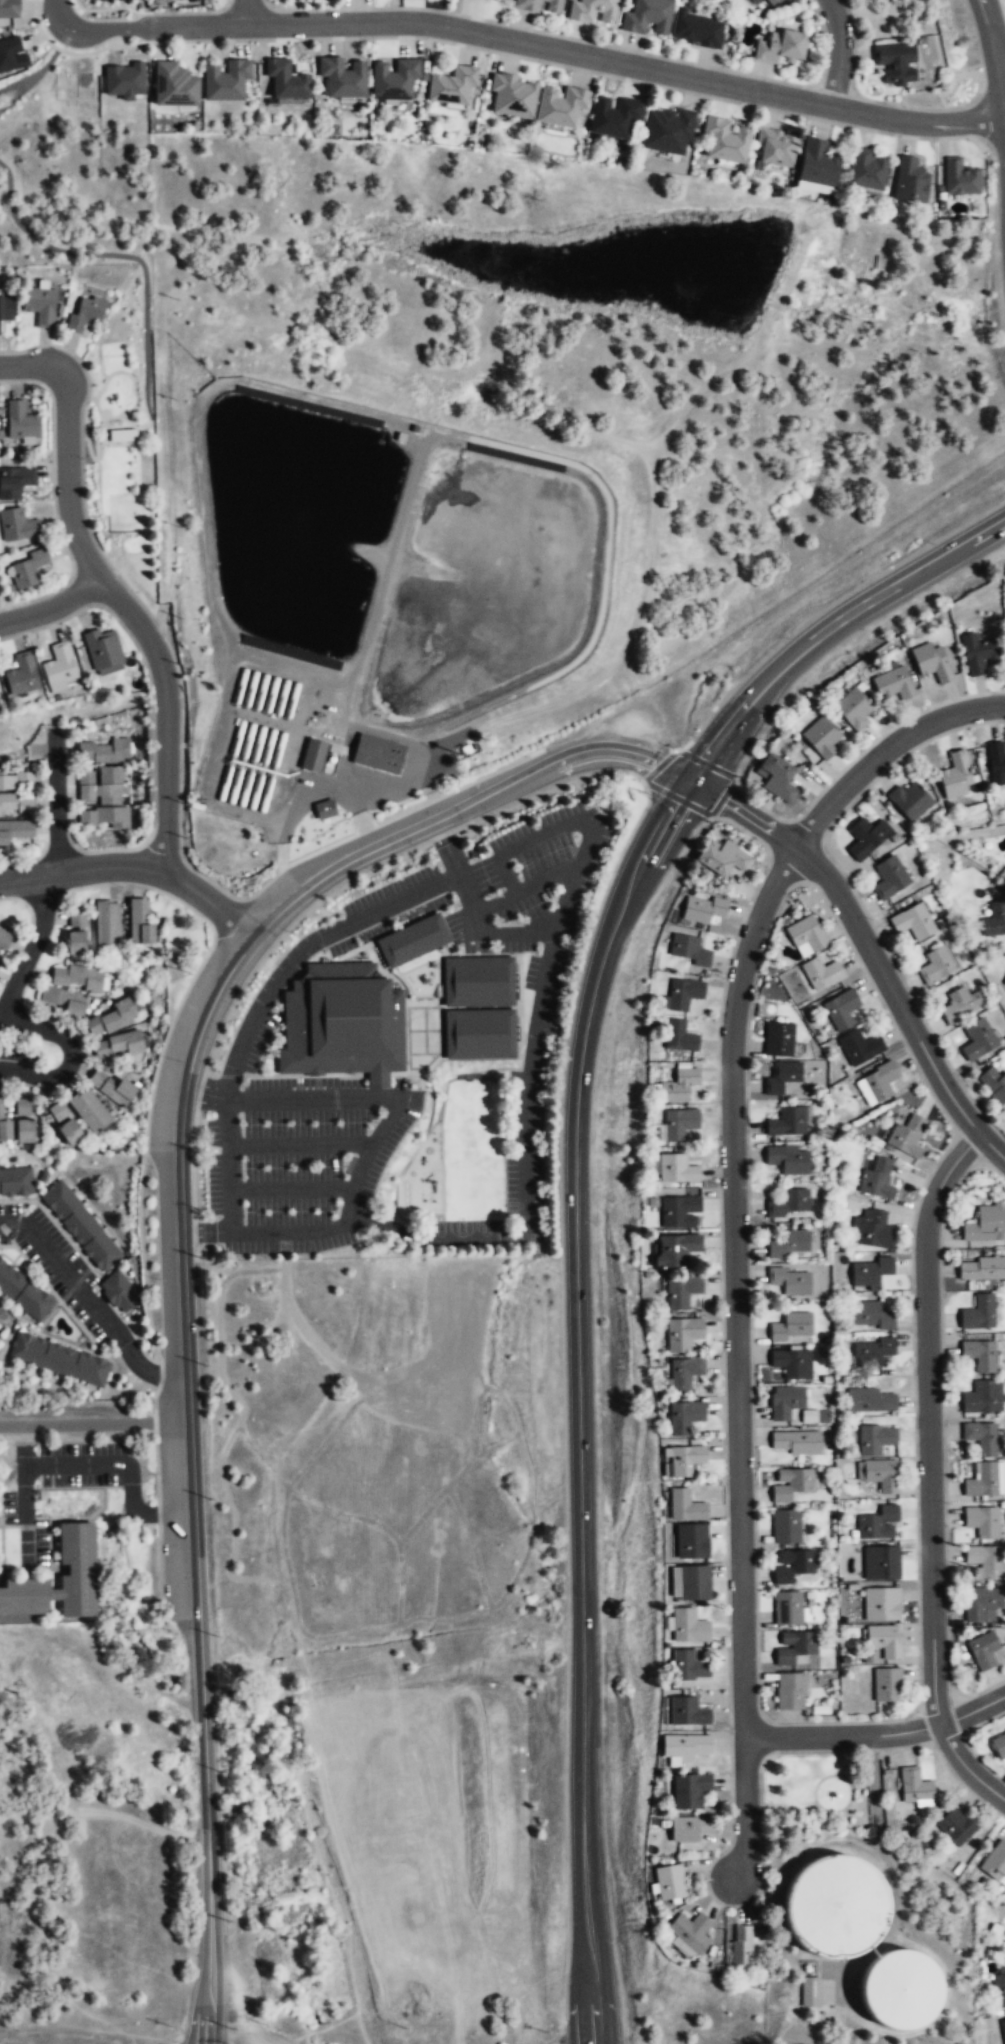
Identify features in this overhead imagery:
building: (486, 0)
building: (504, 0)
building: (756, 2)
building: (773, 3)
building: (525, 7)
building: (9, 9)
road: (58, 12)
road: (246, 12)
building: (593, 12)
road: (987, 14)
building: (648, 18)
building: (877, 18)
road: (998, 28)
building: (698, 30)
road: (537, 45)
building: (780, 47)
road: (838, 53)
building: (12, 54)
road: (998, 61)
building: (896, 63)
building: (342, 77)
building: (224, 78)
building: (393, 79)
building: (124, 80)
building: (287, 80)
road: (29, 81)
road: (15, 84)
building: (173, 85)
building: (451, 85)
building: (512, 96)
building: (559, 106)
building: (612, 116)
building: (667, 131)
building: (725, 141)
building: (775, 147)
building: (817, 166)
building: (867, 169)
building: (960, 178)
building: (912, 180)
road: (131, 257)
building: (39, 306)
building: (6, 311)
building: (85, 313)
road: (29, 365)
road: (733, 365)
road: (100, 370)
road: (134, 389)
building: (19, 421)
road: (121, 426)
road: (95, 427)
road: (102, 432)
building: (122, 435)
park: (123, 438)
wastewater plant: (512, 441)
road: (133, 443)
road: (96, 456)
road: (550, 458)
street lamp: (85, 459)
road: (82, 461)
park: (146, 468)
road: (67, 479)
building: (14, 481)
road: (123, 495)
road: (54, 499)
park: (127, 509)
building: (16, 524)
building: (27, 568)
road: (82, 589)
road: (645, 589)
road: (52, 607)
road: (840, 621)
building: (101, 651)
building: (977, 654)
building: (931, 663)
building: (57, 666)
building: (20, 674)
building: (893, 684)
road: (151, 706)
building: (853, 709)
road: (166, 717)
road: (383, 733)
building: (820, 738)
road: (884, 751)
building: (105, 752)
street lamp: (859, 752)
building: (377, 755)
building: (313, 756)
building: (996, 762)
road: (411, 773)
building: (777, 777)
building: (955, 777)
road: (691, 779)
building: (17, 780)
building: (99, 787)
road: (300, 791)
building: (909, 802)
road: (55, 803)
building: (16, 804)
building: (324, 808)
flagpole: (341, 810)
road: (460, 810)
road: (744, 813)
building: (103, 818)
building: (14, 831)
building: (866, 838)
road: (447, 847)
building: (723, 857)
road: (579, 859)
road: (643, 864)
road: (137, 869)
building: (889, 878)
road: (211, 881)
road: (546, 882)
building: (703, 910)
building: (106, 920)
building: (139, 921)
building: (994, 921)
building: (913, 923)
building: (76, 931)
building: (805, 936)
building: (4, 938)
building: (412, 940)
road: (33, 946)
road: (303, 948)
building: (688, 951)
building: (936, 965)
building: (821, 975)
building: (77, 976)
street lamp: (722, 977)
building: (478, 981)
building: (1004, 983)
road: (890, 988)
building: (682, 994)
building: (64, 998)
building: (960, 1004)
building: (841, 1010)
building: (112, 1016)
building: (342, 1023)
building: (479, 1034)
building: (681, 1037)
building: (779, 1038)
building: (978, 1039)
building: (119, 1042)
building: (859, 1046)
road: (70, 1055)
building: (782, 1076)
building: (877, 1084)
building: (112, 1086)
building: (993, 1086)
building: (678, 1087)
building: (22, 1107)
building: (88, 1110)
building: (57, 1112)
building: (787, 1123)
building: (678, 1124)
building: (3, 1128)
building: (22, 1133)
building: (70, 1133)
building: (905, 1135)
road: (375, 1137)
road: (300, 1146)
road: (992, 1146)
building: (788, 1161)
road: (229, 1165)
building: (677, 1169)
road: (526, 1176)
building: (877, 1179)
building: (16, 1181)
road: (290, 1190)
building: (789, 1204)
building: (678, 1212)
street lamp: (753, 1219)
building: (986, 1225)
building: (81, 1226)
building: (871, 1229)
building: (788, 1245)
building: (674, 1250)
street lamp: (908, 1252)
building: (981, 1270)
building: (869, 1272)
building: (789, 1282)
road: (736, 1286)
building: (119, 1290)
building: (680, 1292)
building: (23, 1293)
road: (93, 1305)
building: (978, 1313)
building: (869, 1316)
building: (792, 1327)
building: (683, 1333)
building: (870, 1353)
building: (979, 1355)
building: (58, 1360)
building: (791, 1363)
building: (686, 1371)
building: (983, 1398)
building: (869, 1401)
building: (784, 1402)
building: (685, 1416)
road: (95, 1421)
road: (929, 1423)
road: (578, 1428)
building: (981, 1437)
building: (875, 1439)
building: (795, 1443)
building: (686, 1458)
road: (81, 1466)
building: (879, 1475)
street lamp: (722, 1477)
building: (983, 1479)
road: (193, 1482)
building: (791, 1484)
street lamp: (948, 1503)
building: (686, 1504)
building: (982, 1522)
building: (877, 1524)
building: (786, 1528)
building: (692, 1539)
building: (76, 1551)
building: (881, 1563)
building: (985, 1563)
building: (792, 1566)
building: (695, 1581)
building: (982, 1604)
building: (881, 1605)
building: (789, 1607)
building: (689, 1625)
building: (883, 1640)
building: (793, 1646)
building: (983, 1651)
building: (689, 1664)
building: (887, 1685)
building: (790, 1692)
building: (688, 1710)
road: (972, 1712)
street lamp: (726, 1731)
road: (842, 1735)
building: (686, 1744)
building: (998, 1748)
street lamp: (880, 1753)
road: (967, 1767)
building: (914, 1788)
building: (690, 1789)
park: (815, 1790)
road: (744, 1812)
building: (691, 1827)
building: (955, 1827)
building: (994, 1860)
road: (890, 1872)
building: (671, 1881)
building: (837, 1907)
storage tank: (837, 1907)
building: (691, 1931)
building: (742, 1948)
road: (592, 1988)
building: (999, 1988)
building: (902, 1989)
storage tank: (902, 1989)
building: (810, 1992)
building: (1002, 2031)

